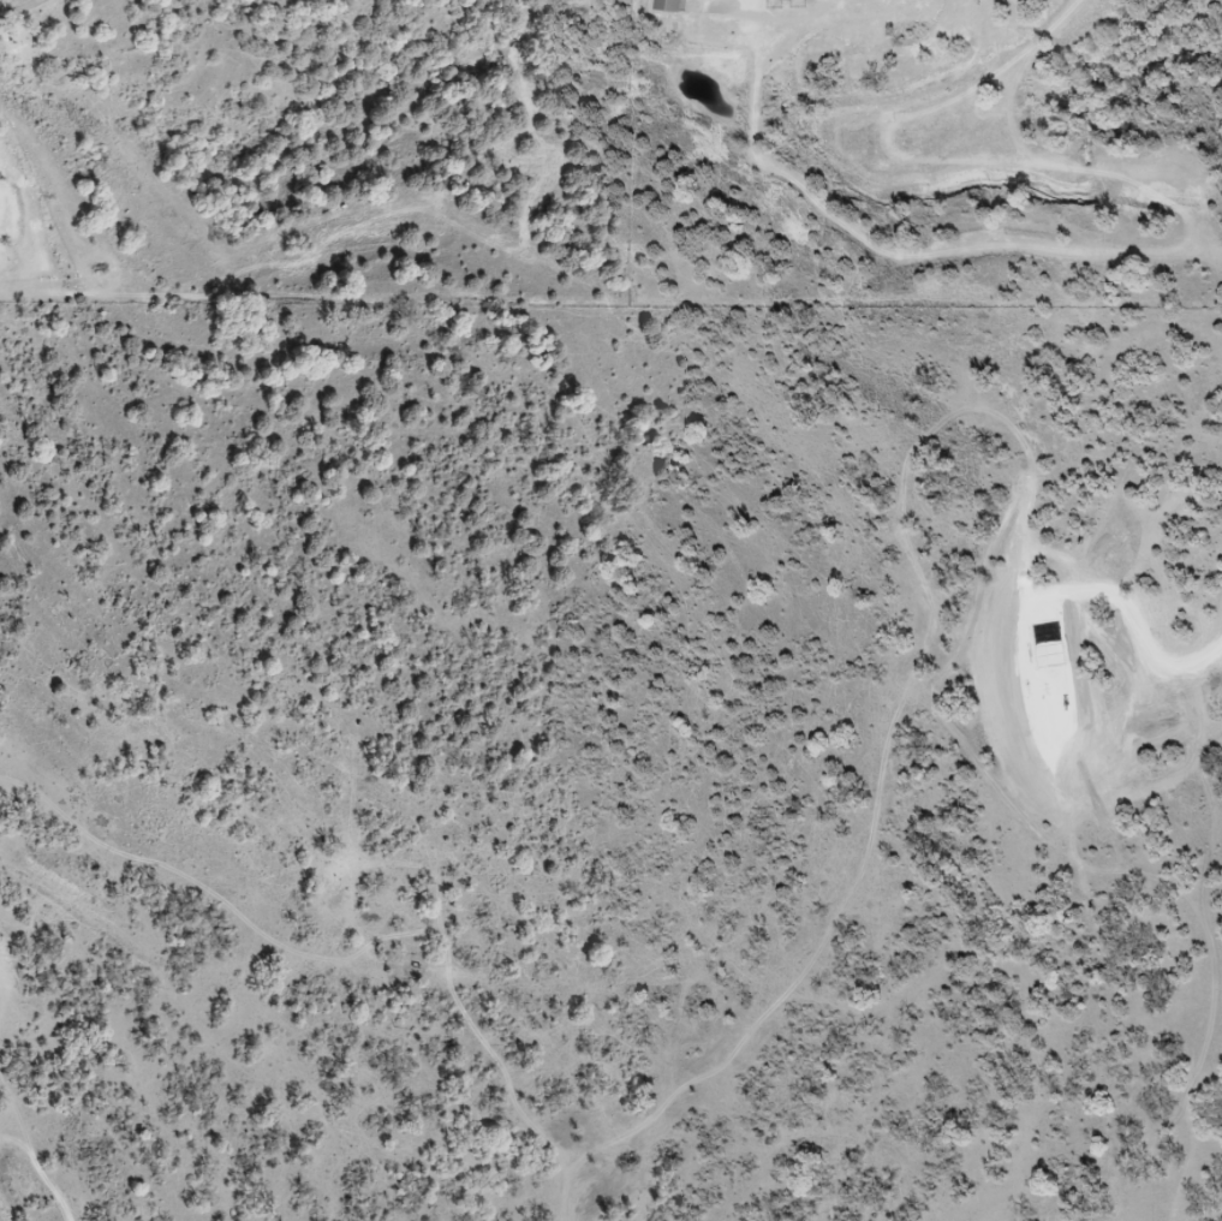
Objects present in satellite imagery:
building: (674, 5)
road: (20, 8)

